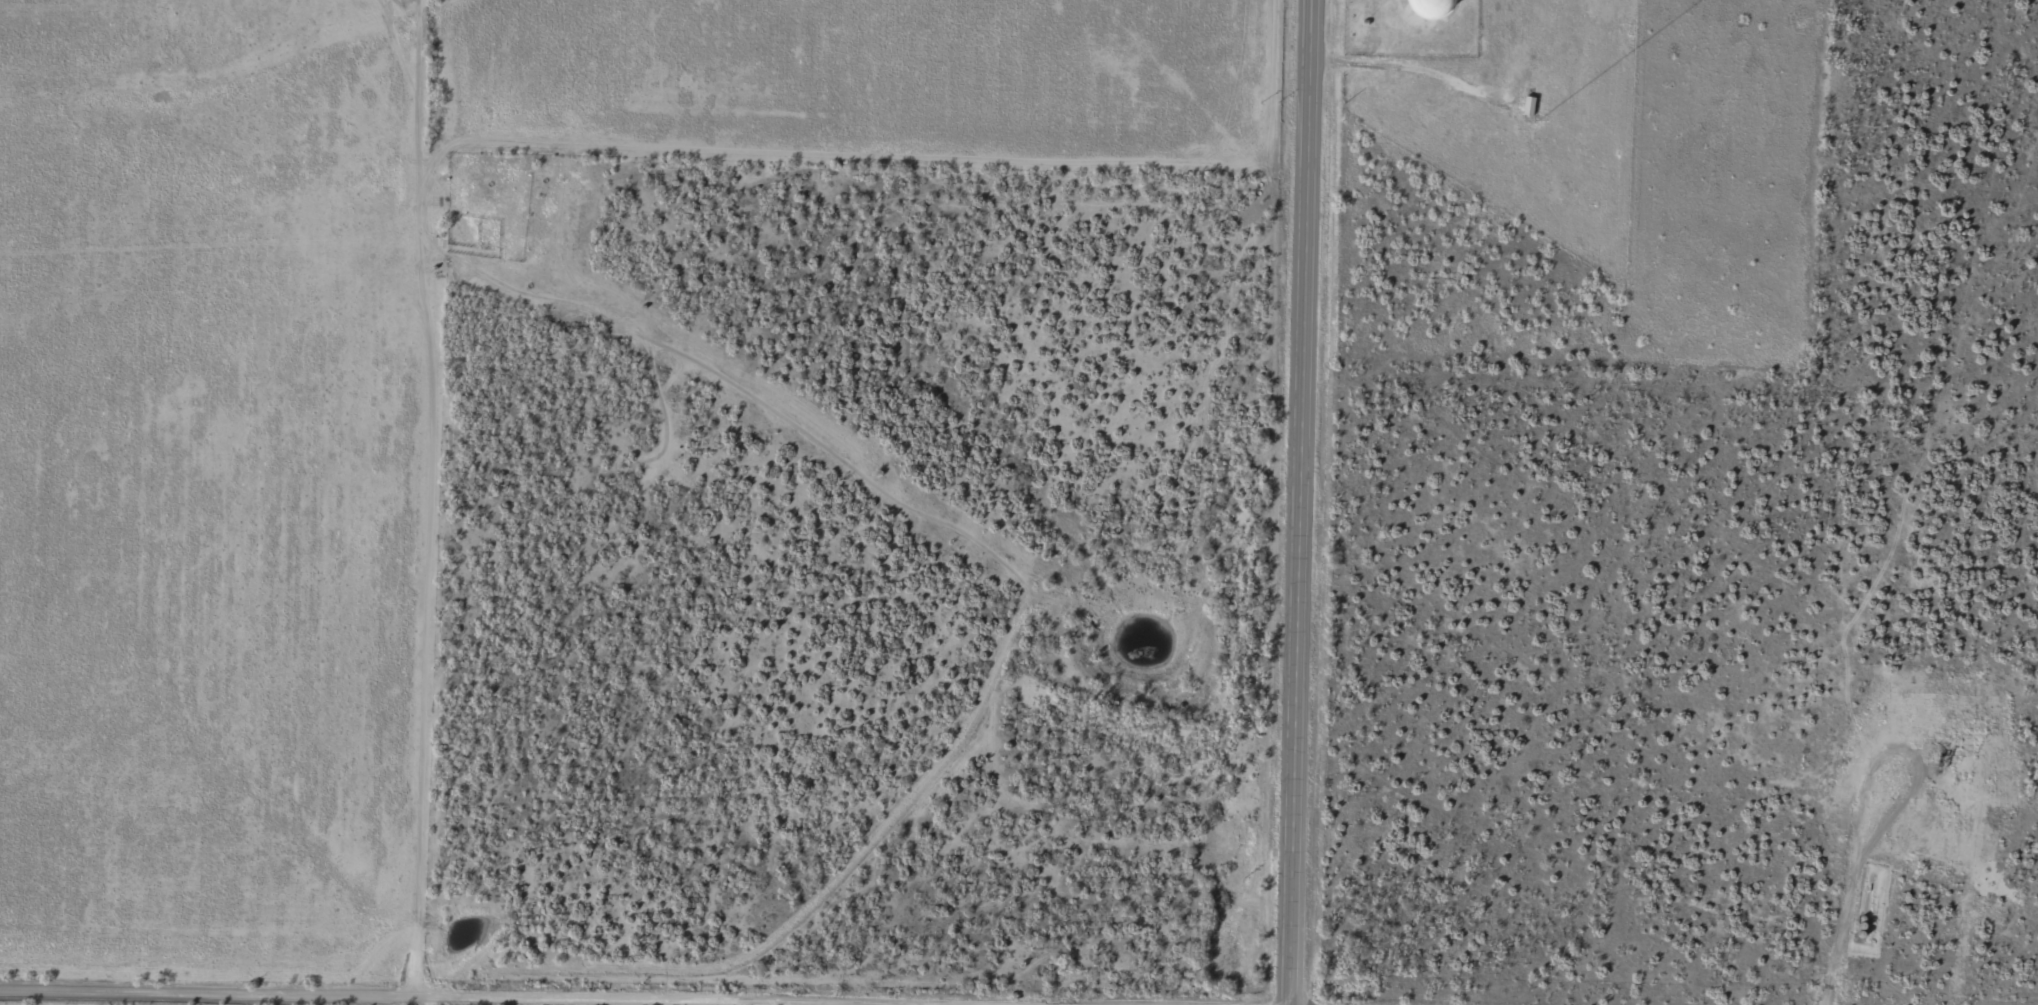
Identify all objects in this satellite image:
building: (1409, 7)
building: (1529, 107)
road: (1306, 502)
road: (415, 574)
road: (549, 992)

